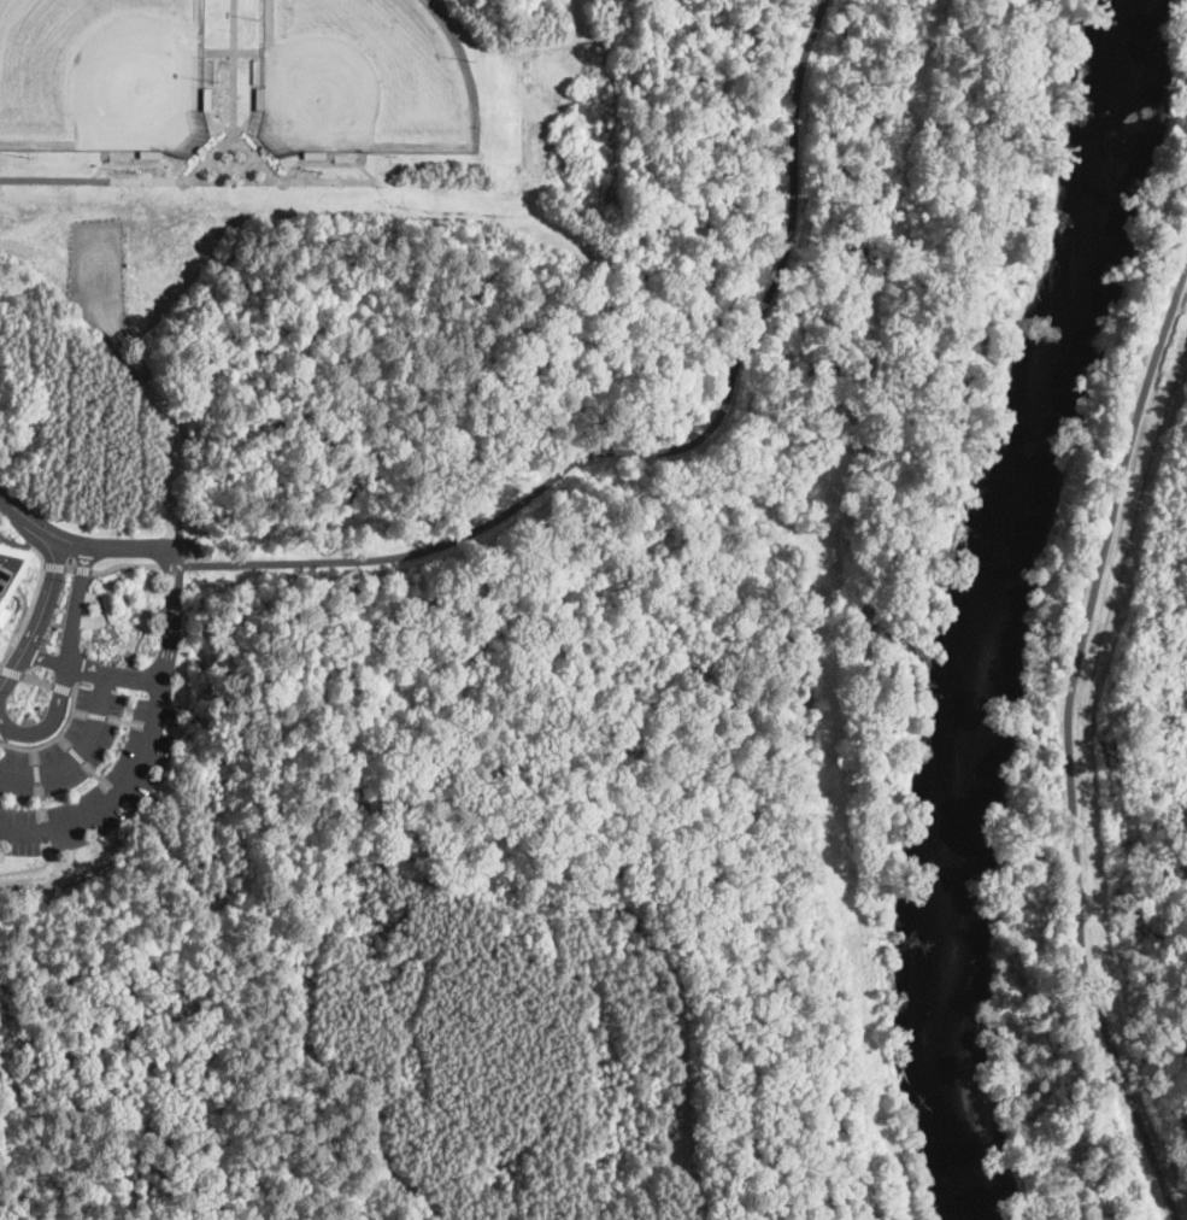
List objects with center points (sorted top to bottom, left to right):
park: (102, 75)
park: (365, 78)
building: (207, 100)
building: (260, 100)
building: (264, 151)
building: (201, 152)
building: (151, 156)
building: (316, 156)
road: (93, 180)
road: (656, 452)
road: (14, 541)
park: (484, 587)
building: (14, 591)
parking lot: (170, 597)
river: (989, 604)
road: (43, 612)
road: (165, 651)
road: (43, 656)
road: (65, 663)
road: (86, 668)
road: (92, 727)
road: (2, 729)
road: (1066, 746)
park: (1103, 825)

